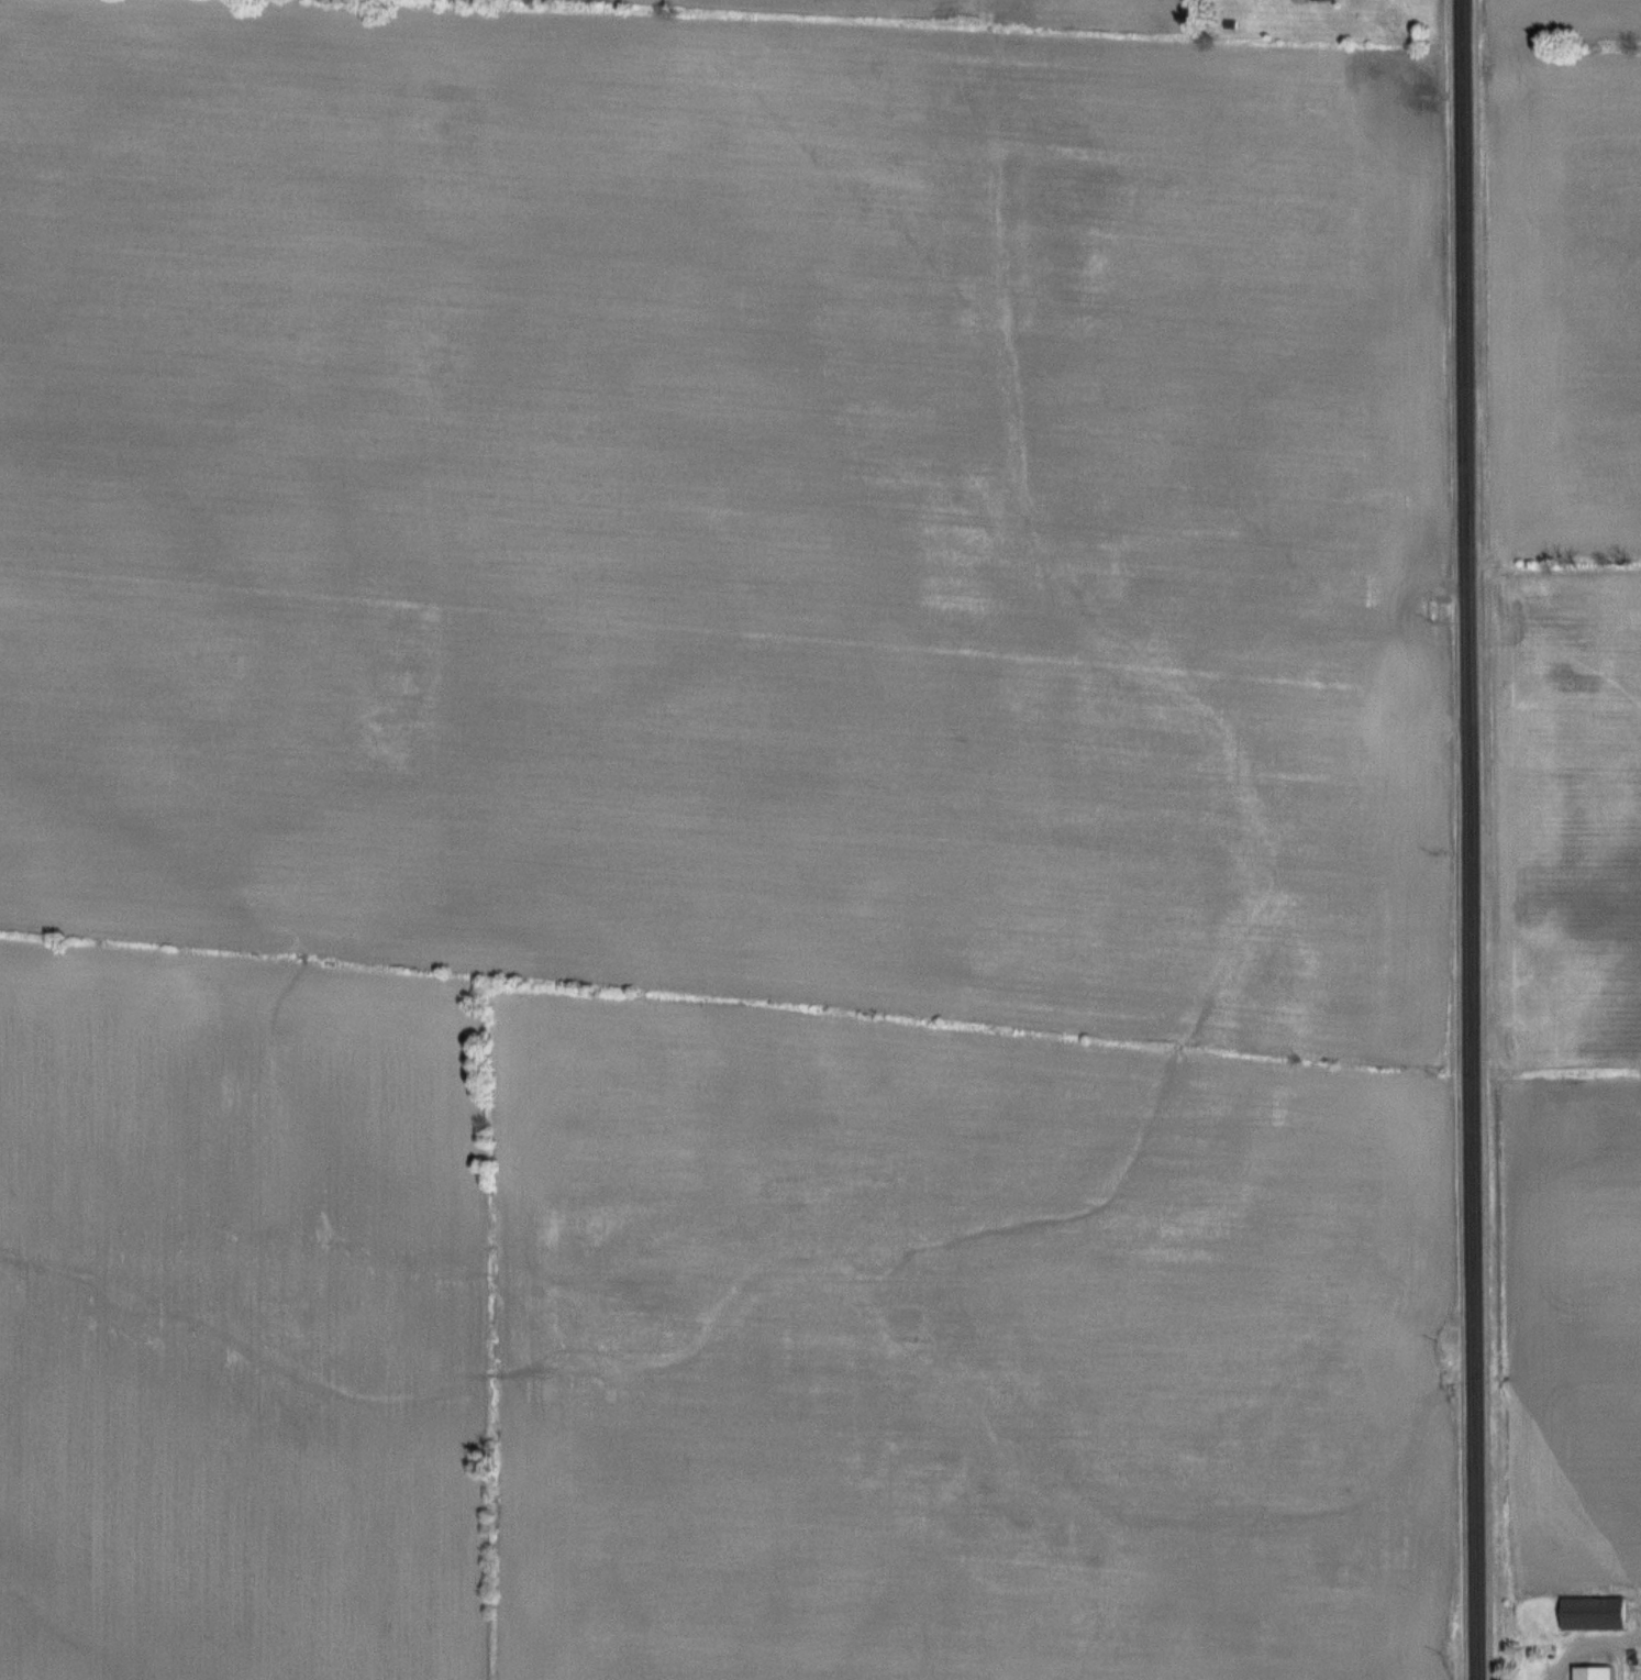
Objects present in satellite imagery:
building: (1323, 0)
road: (1467, 840)
building: (1595, 1615)
building: (1595, 1675)

